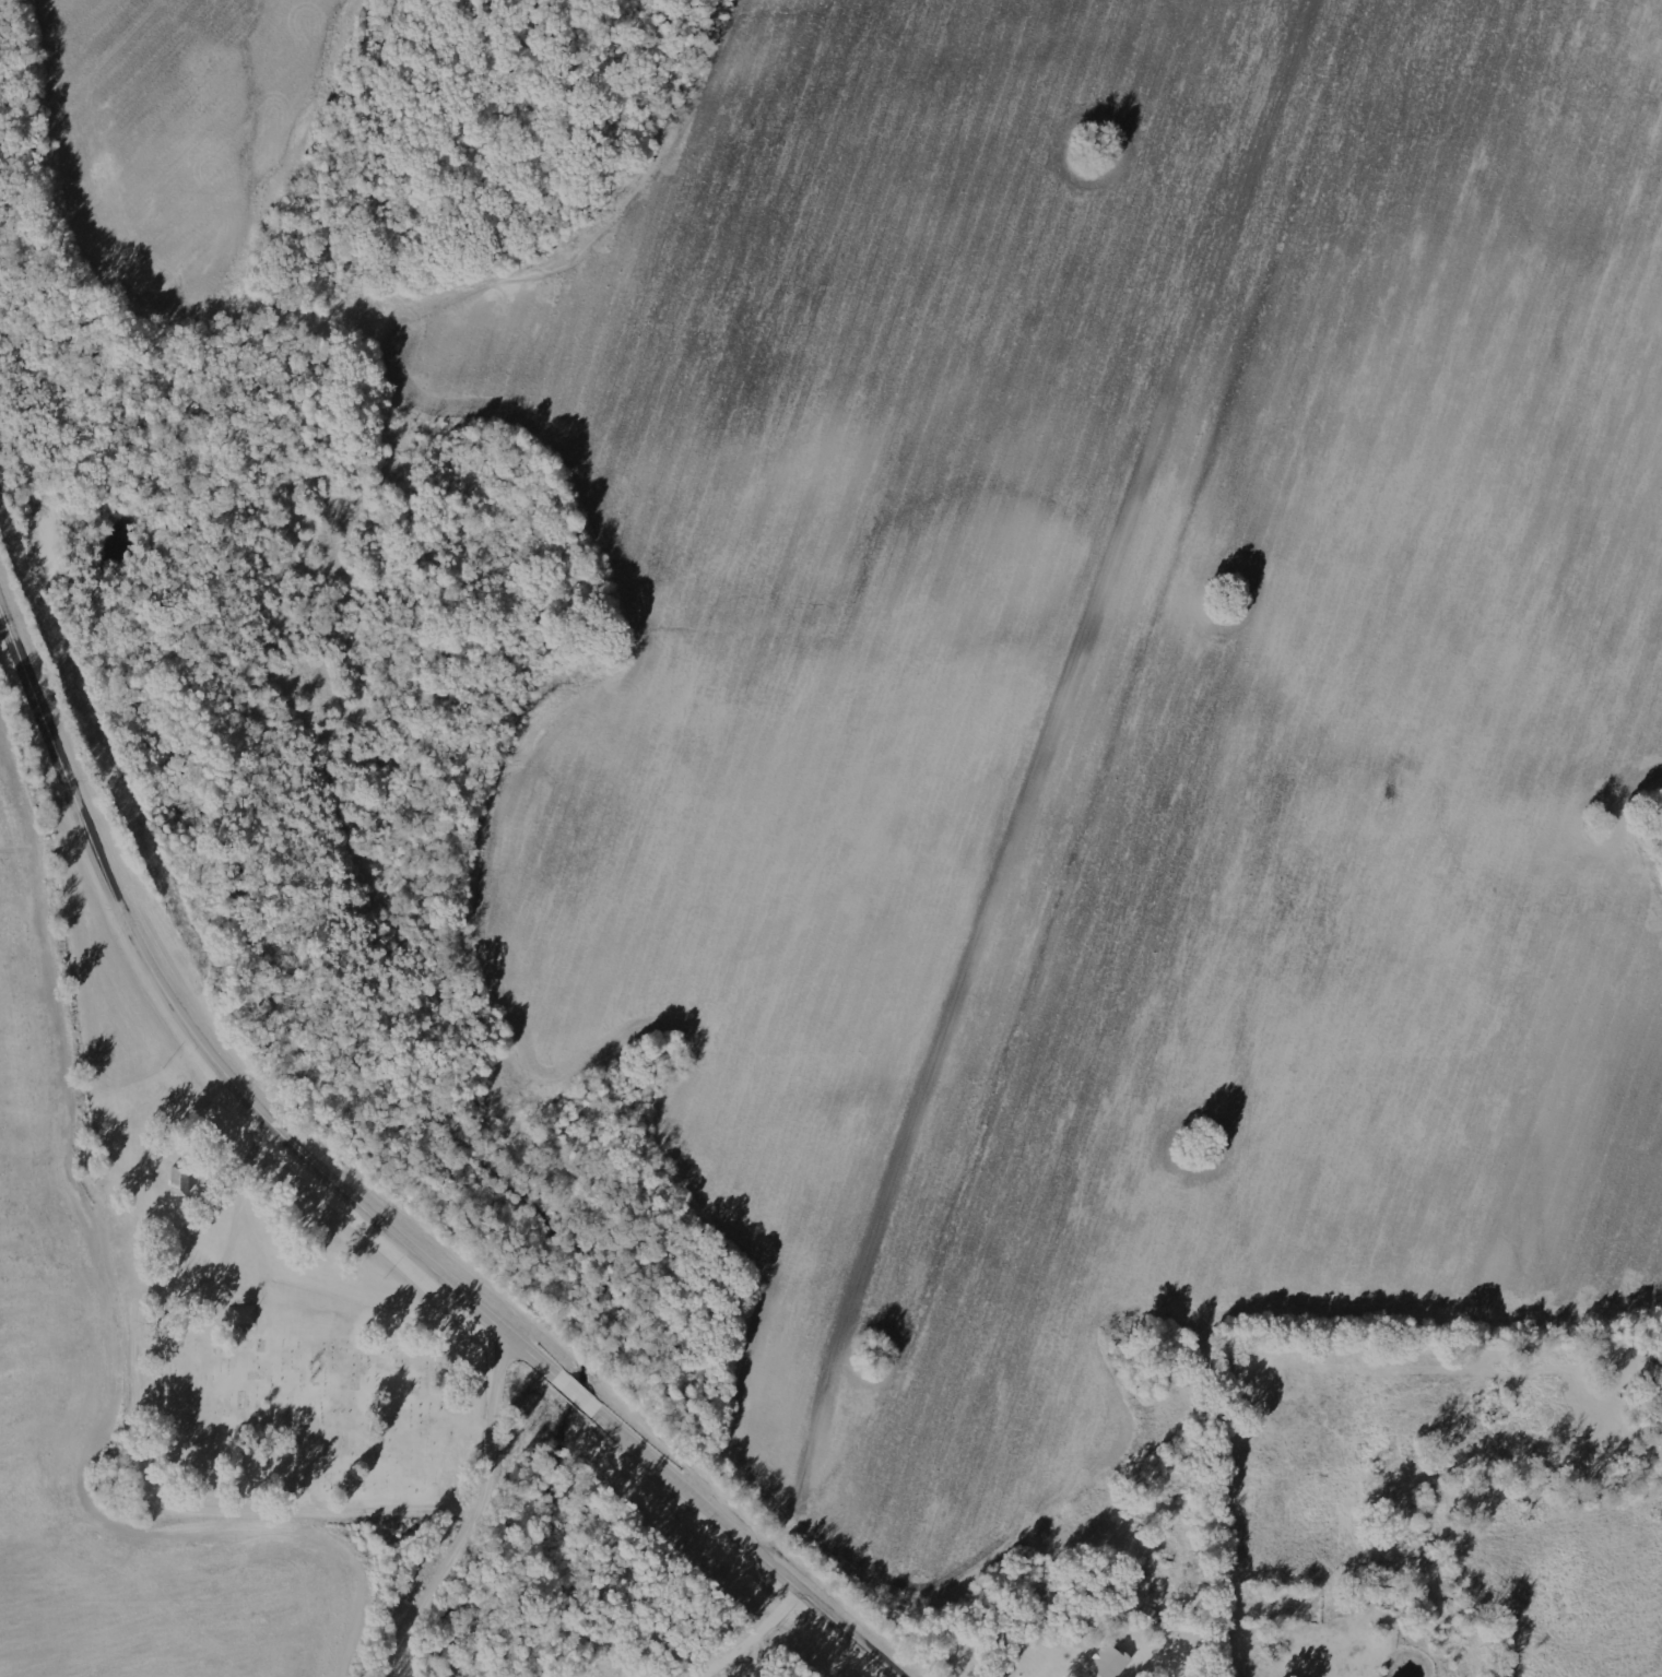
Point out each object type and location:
road: (361, 1196)
park: (287, 1396)
road: (502, 1424)
road: (1245, 1520)
road: (437, 1595)
building: (1111, 1662)

